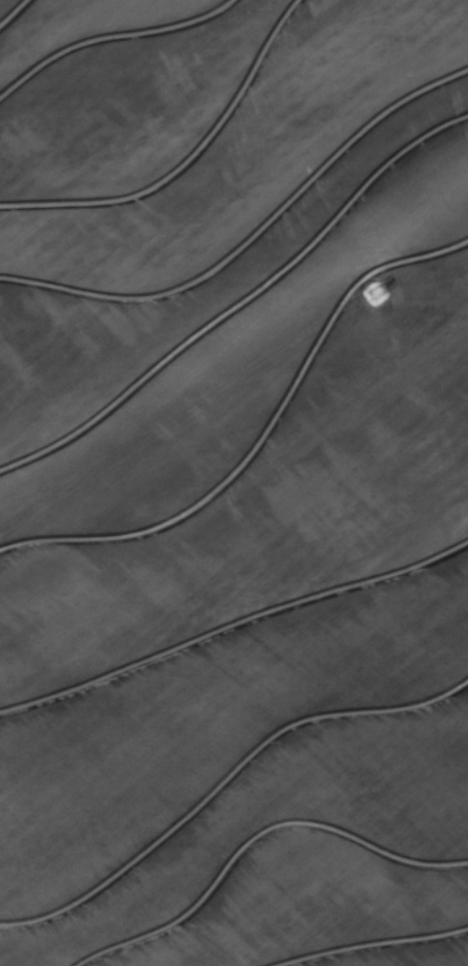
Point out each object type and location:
power tower: (380, 297)
crop: (234, 483)

